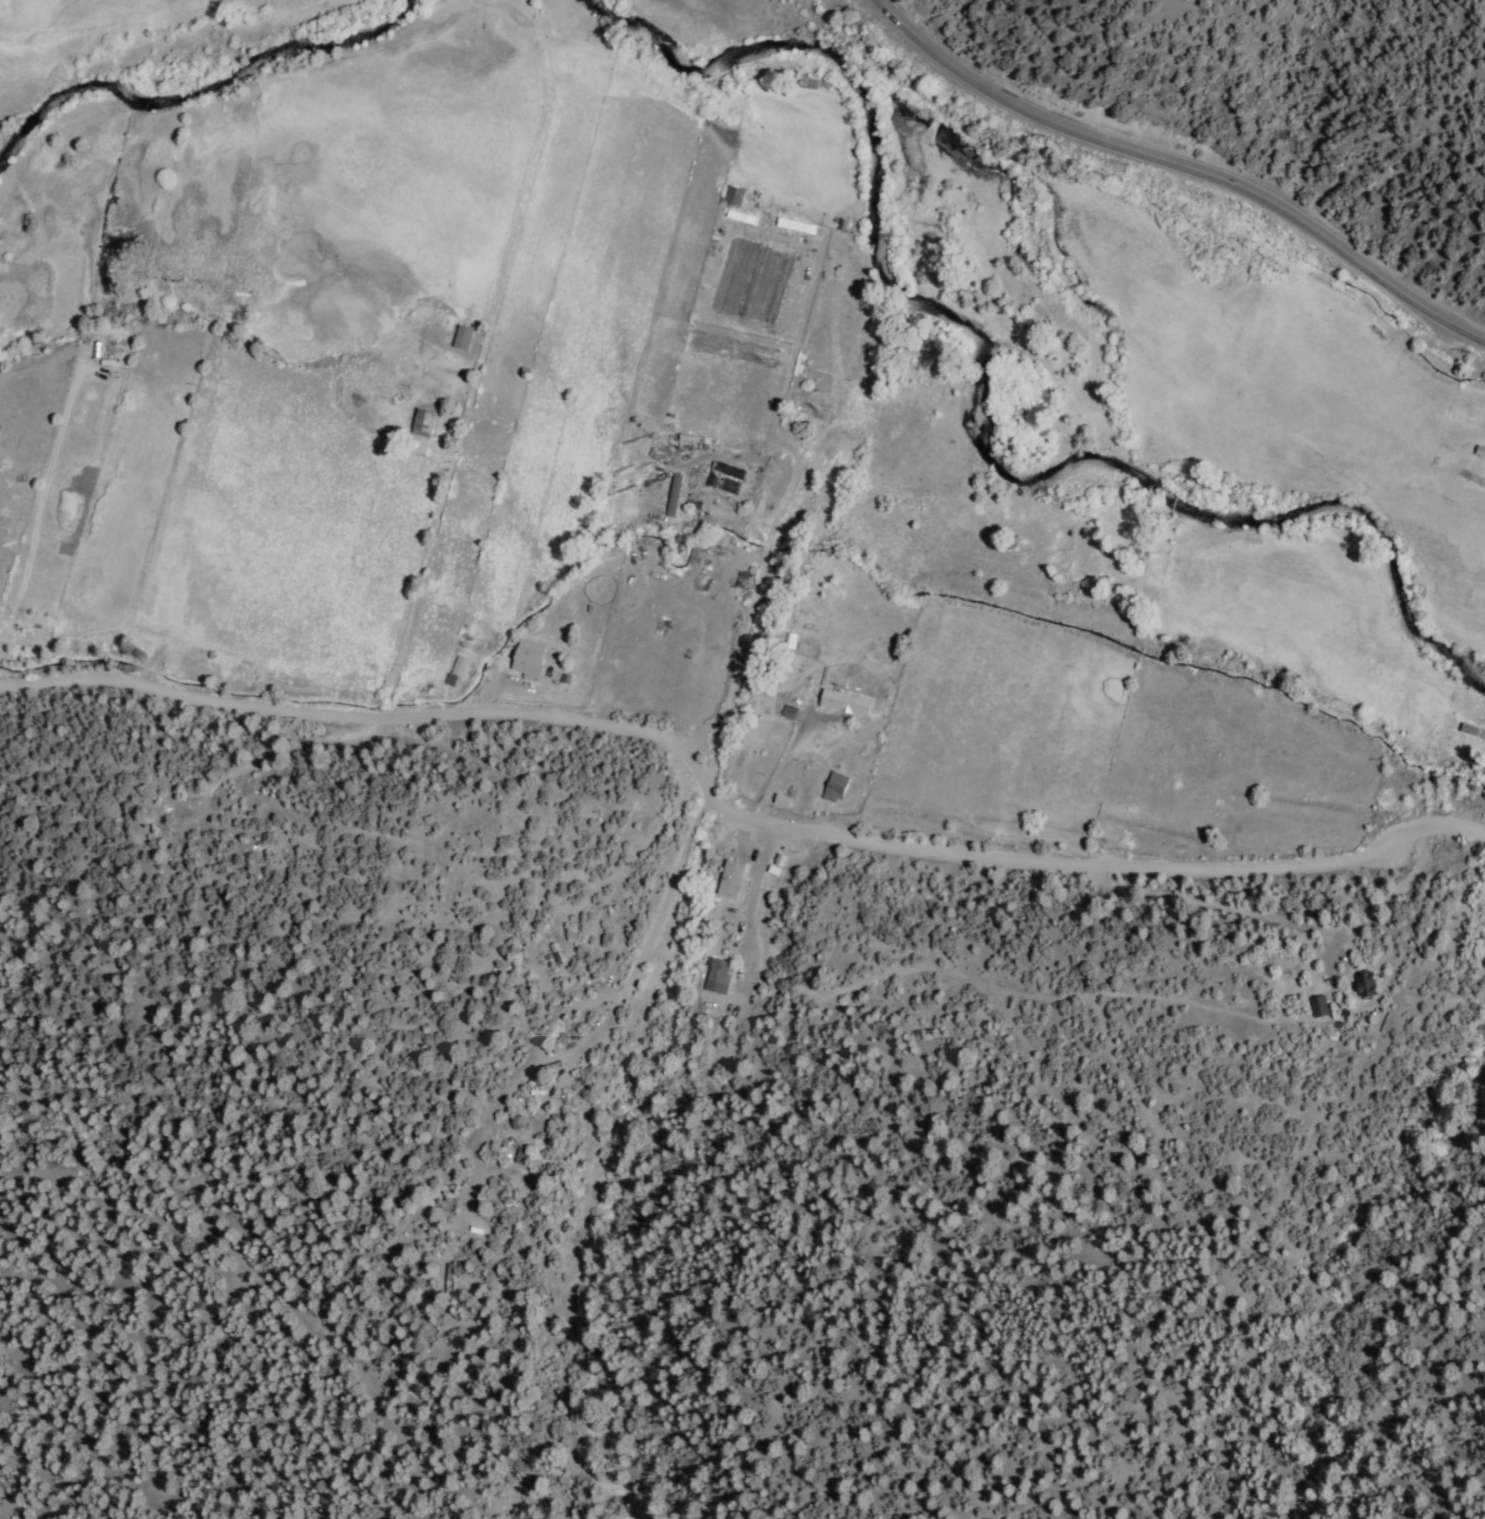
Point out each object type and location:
river: (201, 84)
road: (1183, 164)
building: (732, 195)
building: (794, 226)
building: (460, 337)
road: (802, 347)
river: (979, 397)
building: (422, 422)
road: (35, 470)
building: (673, 495)
building: (526, 657)
building: (458, 665)
road: (756, 668)
building: (449, 679)
building: (844, 702)
road: (382, 714)
building: (833, 786)
road: (1104, 834)
building: (731, 879)
building: (1364, 983)
building: (1318, 1004)
building: (521, 1155)

